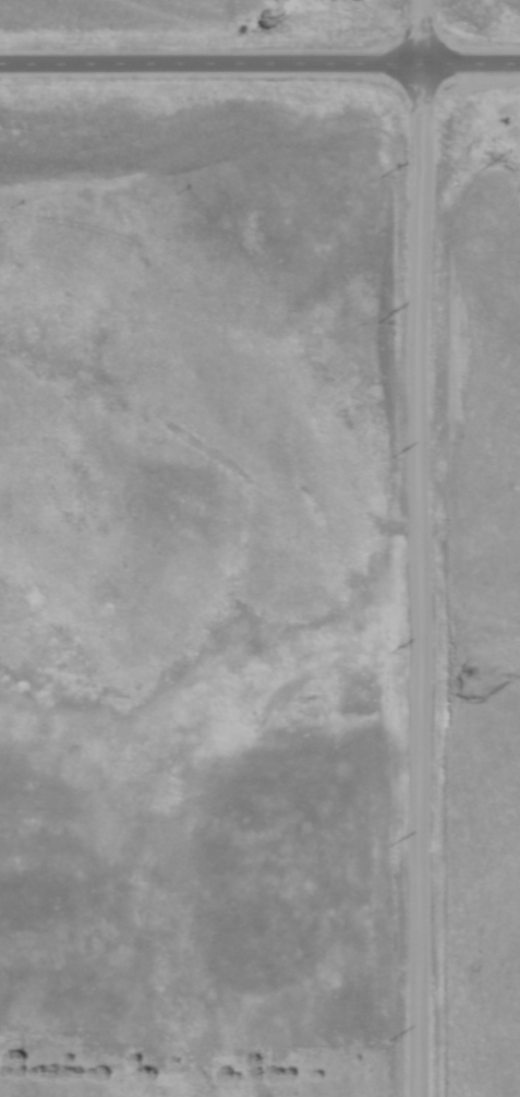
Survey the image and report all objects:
road: (259, 70)
road: (420, 548)

